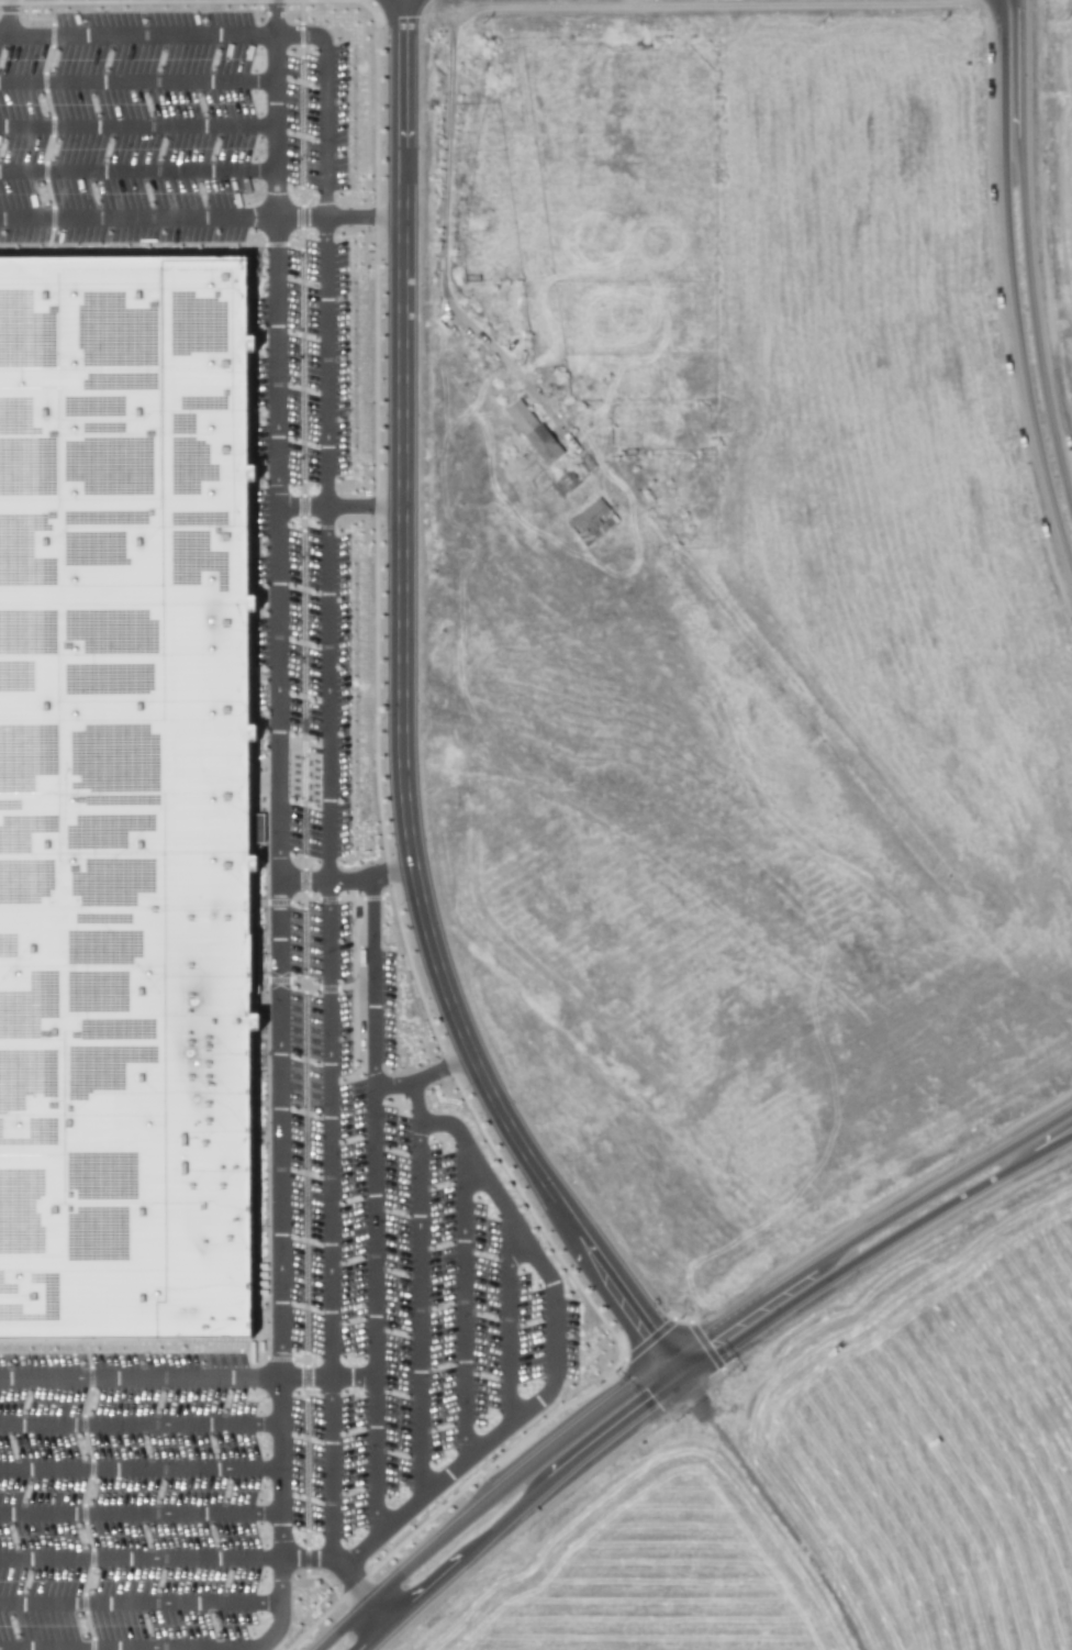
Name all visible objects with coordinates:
road: (9, 16)
road: (275, 16)
road: (137, 79)
road: (49, 117)
road: (276, 124)
road: (137, 125)
road: (137, 170)
road: (300, 217)
road: (362, 217)
road: (1026, 254)
road: (1007, 292)
building: (532, 431)
road: (325, 434)
building: (567, 479)
road: (338, 502)
building: (591, 521)
road: (403, 711)
road: (376, 749)
building: (125, 801)
road: (303, 810)
building: (256, 828)
road: (384, 875)
road: (304, 878)
road: (342, 878)
road: (328, 897)
road: (280, 933)
road: (311, 986)
road: (371, 994)
road: (433, 1067)
road: (267, 1199)
road: (330, 1216)
road: (373, 1227)
road: (464, 1305)
road: (418, 1308)
road: (509, 1322)
road: (246, 1344)
road: (552, 1346)
road: (672, 1350)
road: (249, 1364)
road: (675, 1372)
road: (703, 1374)
road: (373, 1406)
road: (138, 1426)
road: (278, 1468)
road: (138, 1470)
road: (86, 1494)
parking lot: (125, 1502)
road: (139, 1516)
road: (775, 1517)
road: (144, 1559)
road: (349, 1574)
road: (281, 1587)
road: (139, 1606)
road: (380, 1610)
road: (175, 1649)

